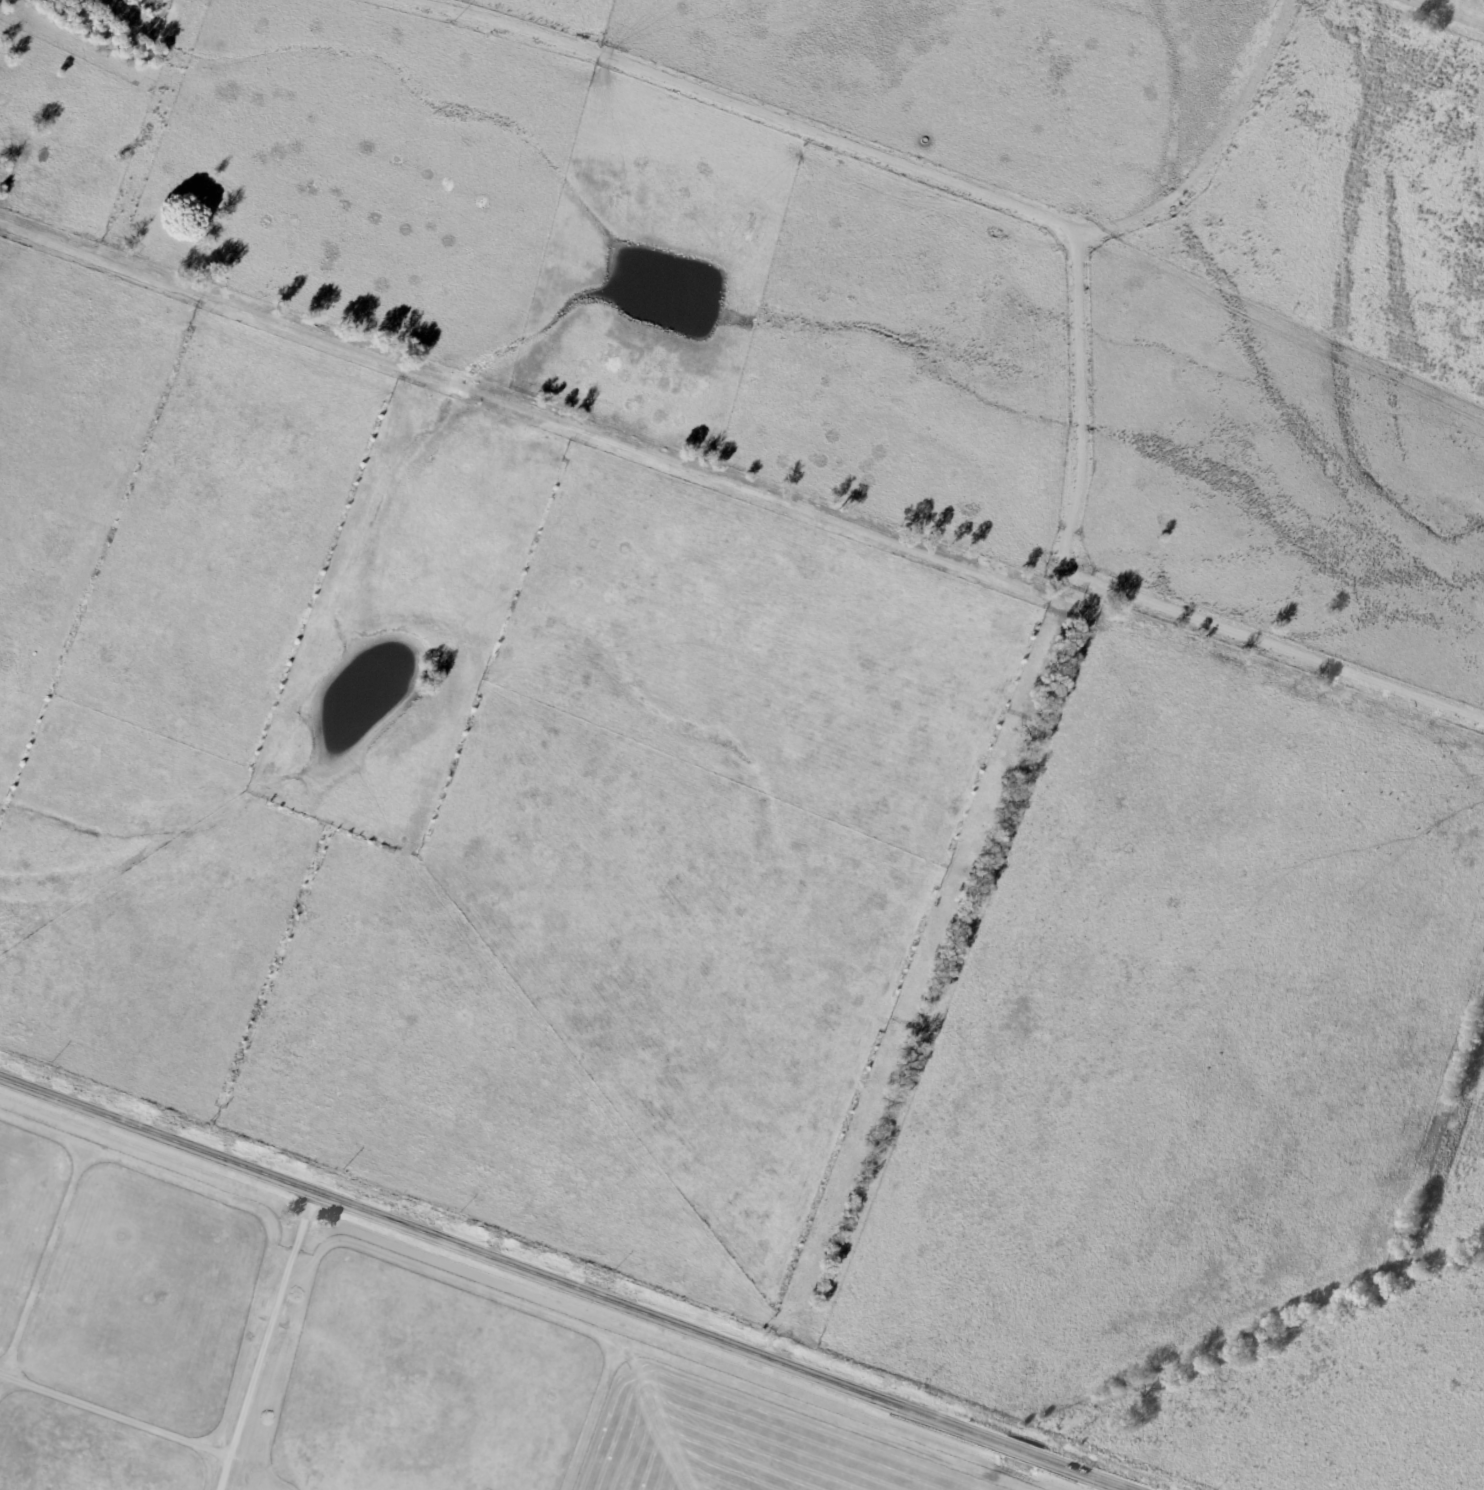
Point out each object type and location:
road: (563, 1284)
road: (279, 1323)
road: (118, 1413)
road: (233, 1470)

